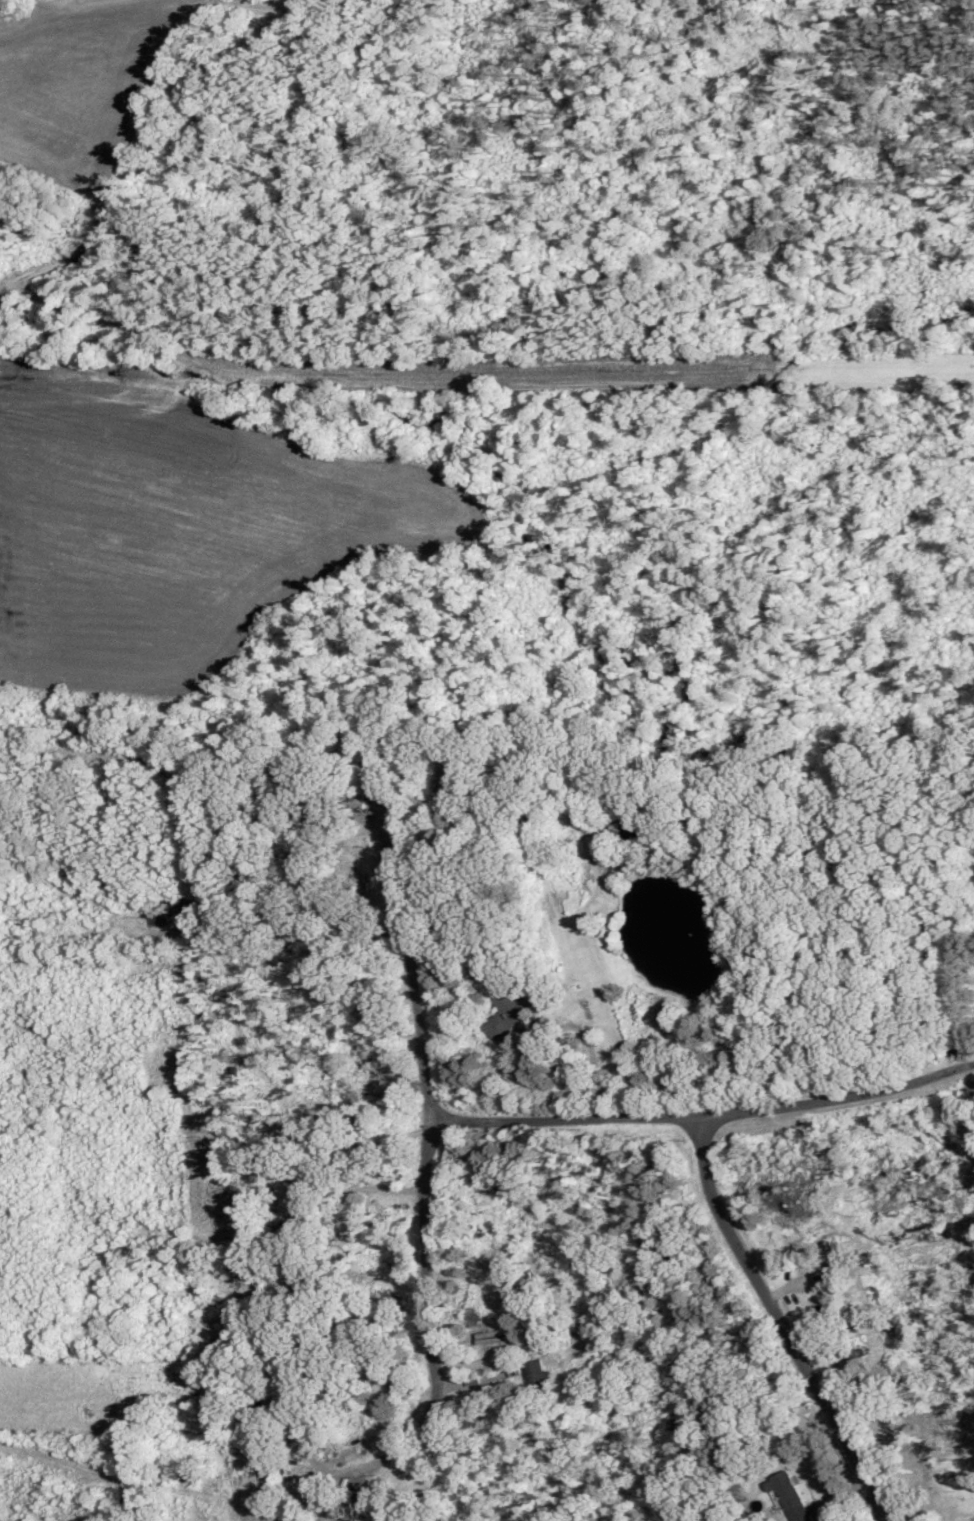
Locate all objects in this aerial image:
road: (403, 967)
building: (511, 1012)
road: (841, 1101)
road: (564, 1121)
building: (298, 1205)
road: (427, 1244)
road: (778, 1322)
building: (536, 1372)
building: (787, 1495)

